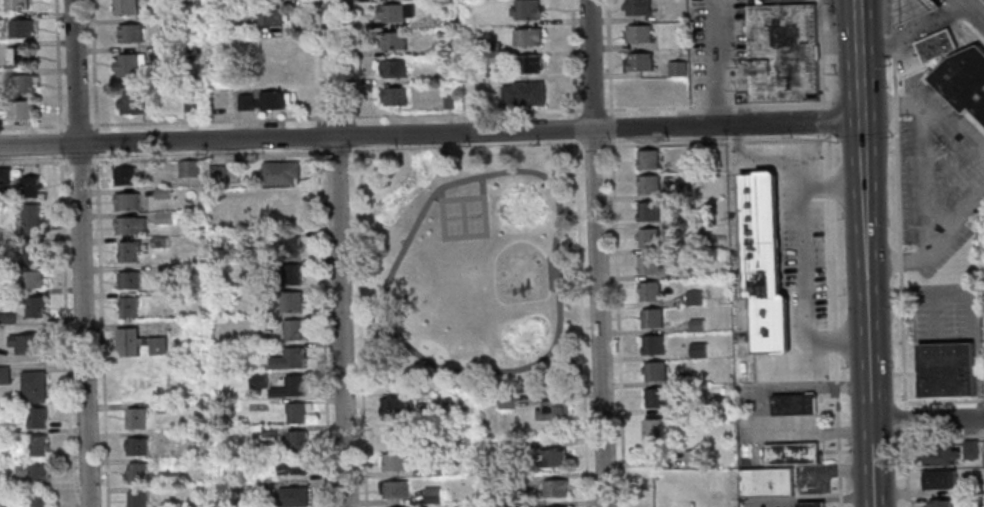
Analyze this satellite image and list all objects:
building: (235, 2)
building: (16, 4)
road: (977, 5)
building: (125, 7)
building: (639, 7)
building: (526, 9)
building: (913, 9)
road: (974, 9)
building: (394, 12)
road: (950, 12)
building: (443, 16)
building: (270, 18)
building: (236, 27)
building: (21, 28)
road: (918, 29)
building: (129, 33)
building: (640, 33)
road: (974, 36)
building: (528, 37)
building: (393, 40)
building: (270, 44)
building: (935, 45)
building: (490, 47)
parking lot: (718, 48)
building: (440, 49)
building: (173, 52)
building: (783, 52)
road: (823, 52)
building: (18, 56)
building: (231, 56)
road: (860, 60)
road: (315, 61)
road: (352, 61)
building: (639, 62)
road: (713, 62)
building: (128, 64)
building: (529, 64)
road: (57, 65)
road: (92, 65)
road: (332, 68)
building: (394, 68)
building: (678, 68)
building: (277, 71)
building: (491, 75)
building: (22, 83)
building: (965, 84)
building: (642, 89)
building: (524, 93)
building: (395, 96)
building: (682, 97)
building: (264, 100)
building: (449, 101)
building: (132, 102)
road: (827, 106)
building: (17, 108)
building: (191, 108)
road: (587, 110)
road: (336, 116)
road: (206, 120)
road: (827, 120)
road: (32, 125)
road: (76, 125)
road: (354, 134)
road: (431, 134)
road: (863, 134)
road: (317, 135)
road: (95, 140)
road: (59, 143)
road: (715, 143)
road: (559, 146)
road: (581, 146)
road: (593, 146)
road: (336, 154)
road: (350, 154)
road: (827, 154)
road: (207, 156)
building: (648, 159)
road: (78, 160)
road: (33, 161)
road: (864, 167)
road: (554, 168)
building: (188, 169)
road: (546, 169)
building: (280, 172)
building: (4, 174)
building: (217, 174)
building: (126, 176)
parking lot: (938, 178)
road: (482, 184)
building: (649, 184)
building: (30, 186)
road: (829, 187)
road: (833, 187)
building: (686, 191)
building: (162, 193)
road: (439, 193)
building: (127, 201)
building: (649, 210)
building: (286, 212)
park: (463, 216)
building: (164, 217)
building: (30, 219)
building: (680, 220)
road: (415, 223)
building: (131, 225)
road: (803, 232)
building: (258, 237)
building: (649, 239)
building: (158, 241)
building: (290, 246)
building: (677, 246)
building: (129, 251)
building: (32, 252)
road: (79, 253)
road: (596, 253)
road: (615, 253)
road: (899, 253)
building: (764, 262)
road: (550, 265)
building: (651, 265)
park: (468, 268)
road: (357, 270)
building: (167, 271)
building: (693, 272)
building: (291, 274)
building: (32, 279)
building: (129, 280)
building: (651, 291)
building: (263, 293)
building: (694, 297)
building: (292, 302)
road: (972, 303)
road: (867, 305)
building: (128, 306)
building: (35, 307)
parking lot: (946, 312)
building: (653, 317)
building: (7, 318)
road: (340, 322)
road: (581, 322)
building: (697, 325)
road: (323, 327)
road: (101, 329)
road: (65, 330)
building: (293, 330)
road: (376, 338)
building: (128, 340)
building: (28, 343)
building: (653, 344)
building: (158, 345)
building: (254, 349)
building: (698, 350)
road: (836, 352)
building: (288, 359)
road: (792, 361)
building: (947, 369)
building: (655, 371)
building: (4, 374)
building: (686, 379)
building: (257, 380)
building: (33, 387)
building: (289, 387)
building: (656, 398)
road: (944, 400)
building: (506, 401)
building: (793, 404)
building: (393, 406)
building: (164, 408)
building: (553, 410)
building: (296, 412)
building: (429, 413)
road: (753, 413)
building: (36, 418)
building: (135, 418)
road: (927, 421)
building: (268, 432)
building: (654, 432)
building: (393, 434)
building: (174, 436)
road: (944, 436)
building: (296, 440)
building: (428, 441)
building: (38, 446)
building: (136, 446)
building: (509, 447)
building: (971, 449)
road: (362, 452)
building: (791, 453)
building: (942, 456)
building: (555, 457)
building: (692, 458)
building: (394, 462)
road: (871, 464)
building: (292, 465)
building: (434, 467)
building: (468, 468)
building: (33, 472)
building: (137, 473)
building: (941, 481)
building: (767, 482)
building: (519, 483)
building: (5, 484)
building: (395, 489)
building: (555, 489)
building: (236, 491)
building: (432, 495)
building: (293, 496)
building: (39, 498)
building: (137, 499)
road: (819, 499)
parking lot: (767, 502)
building: (811, 504)
building: (942, 504)
building: (511, 505)

